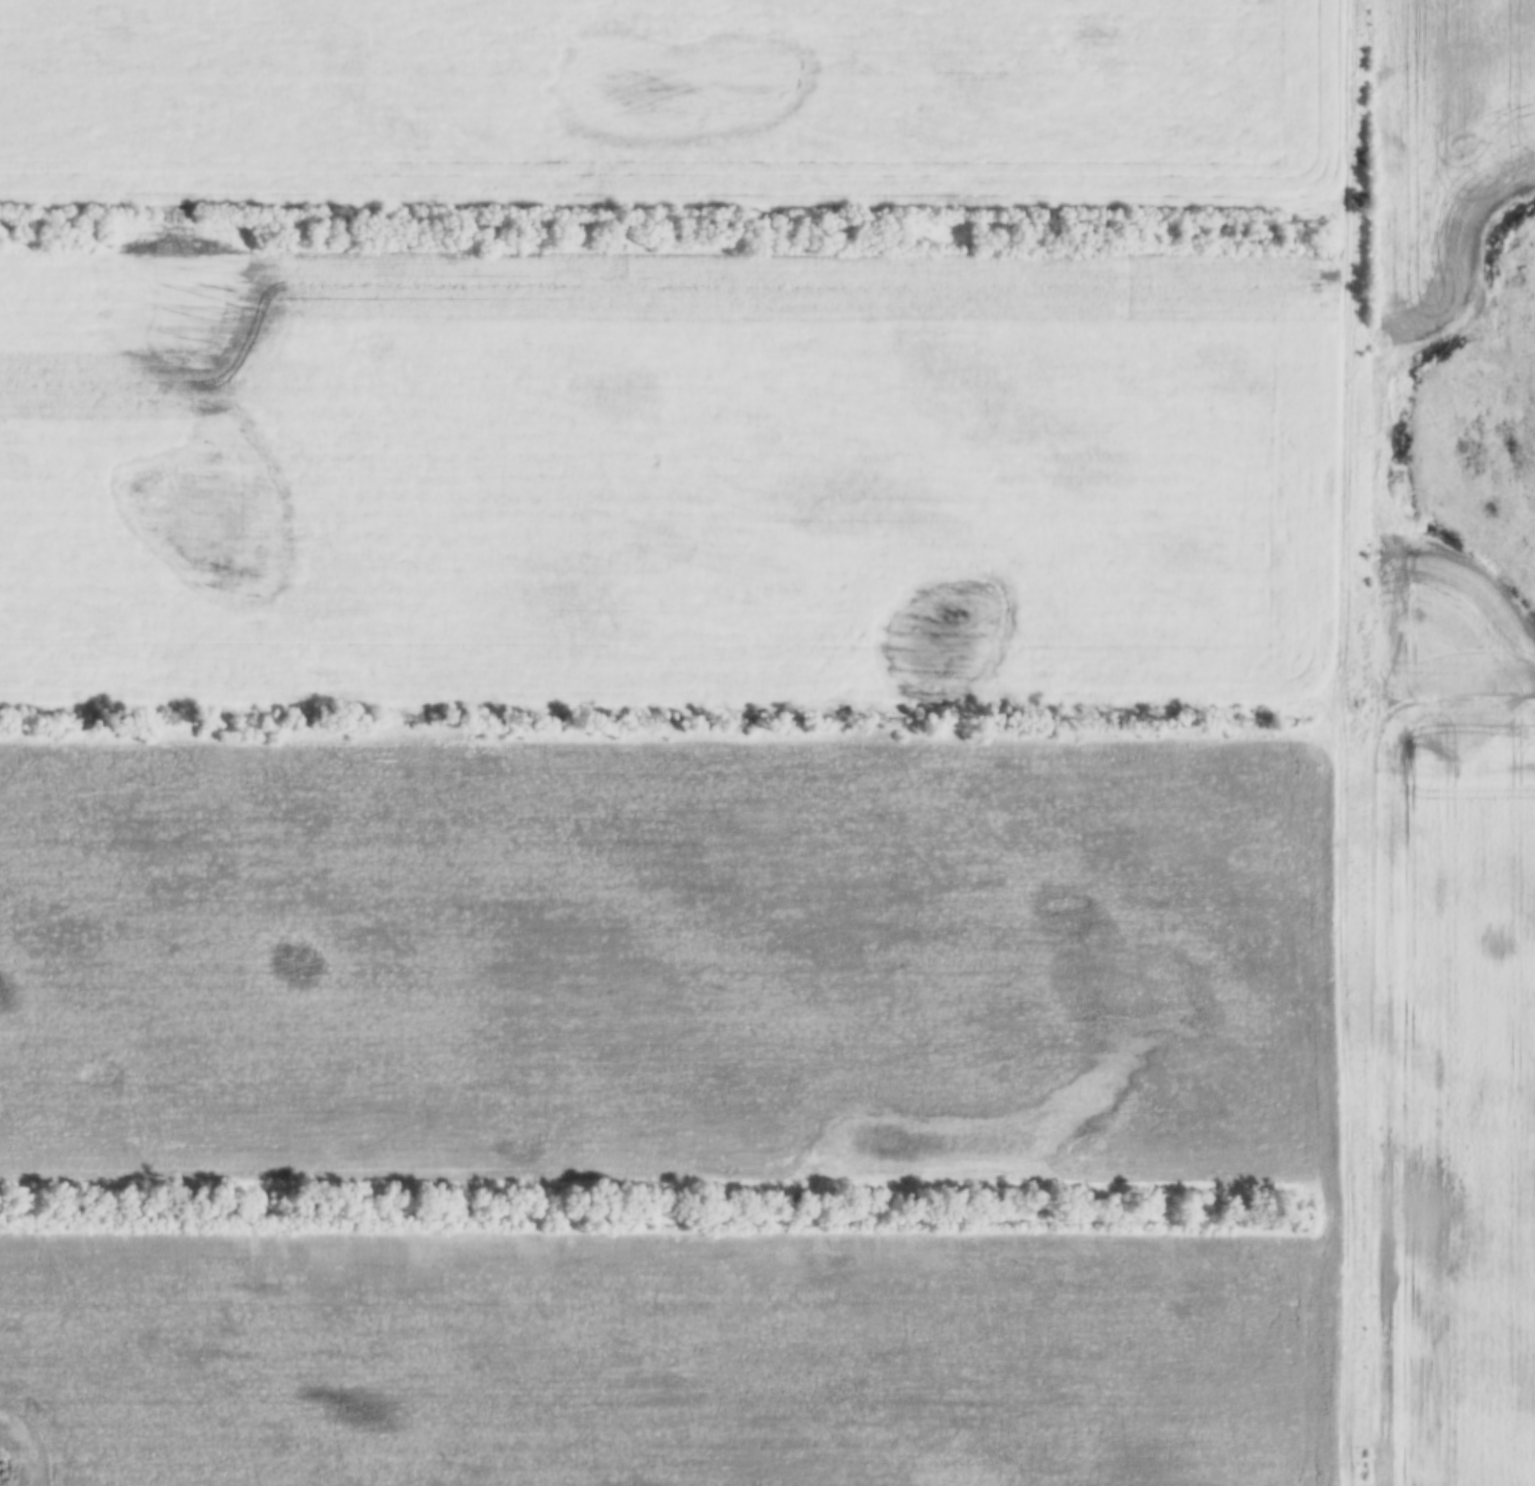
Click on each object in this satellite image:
crop: (1439, 157)
road: (1354, 743)
crop: (1445, 1023)

